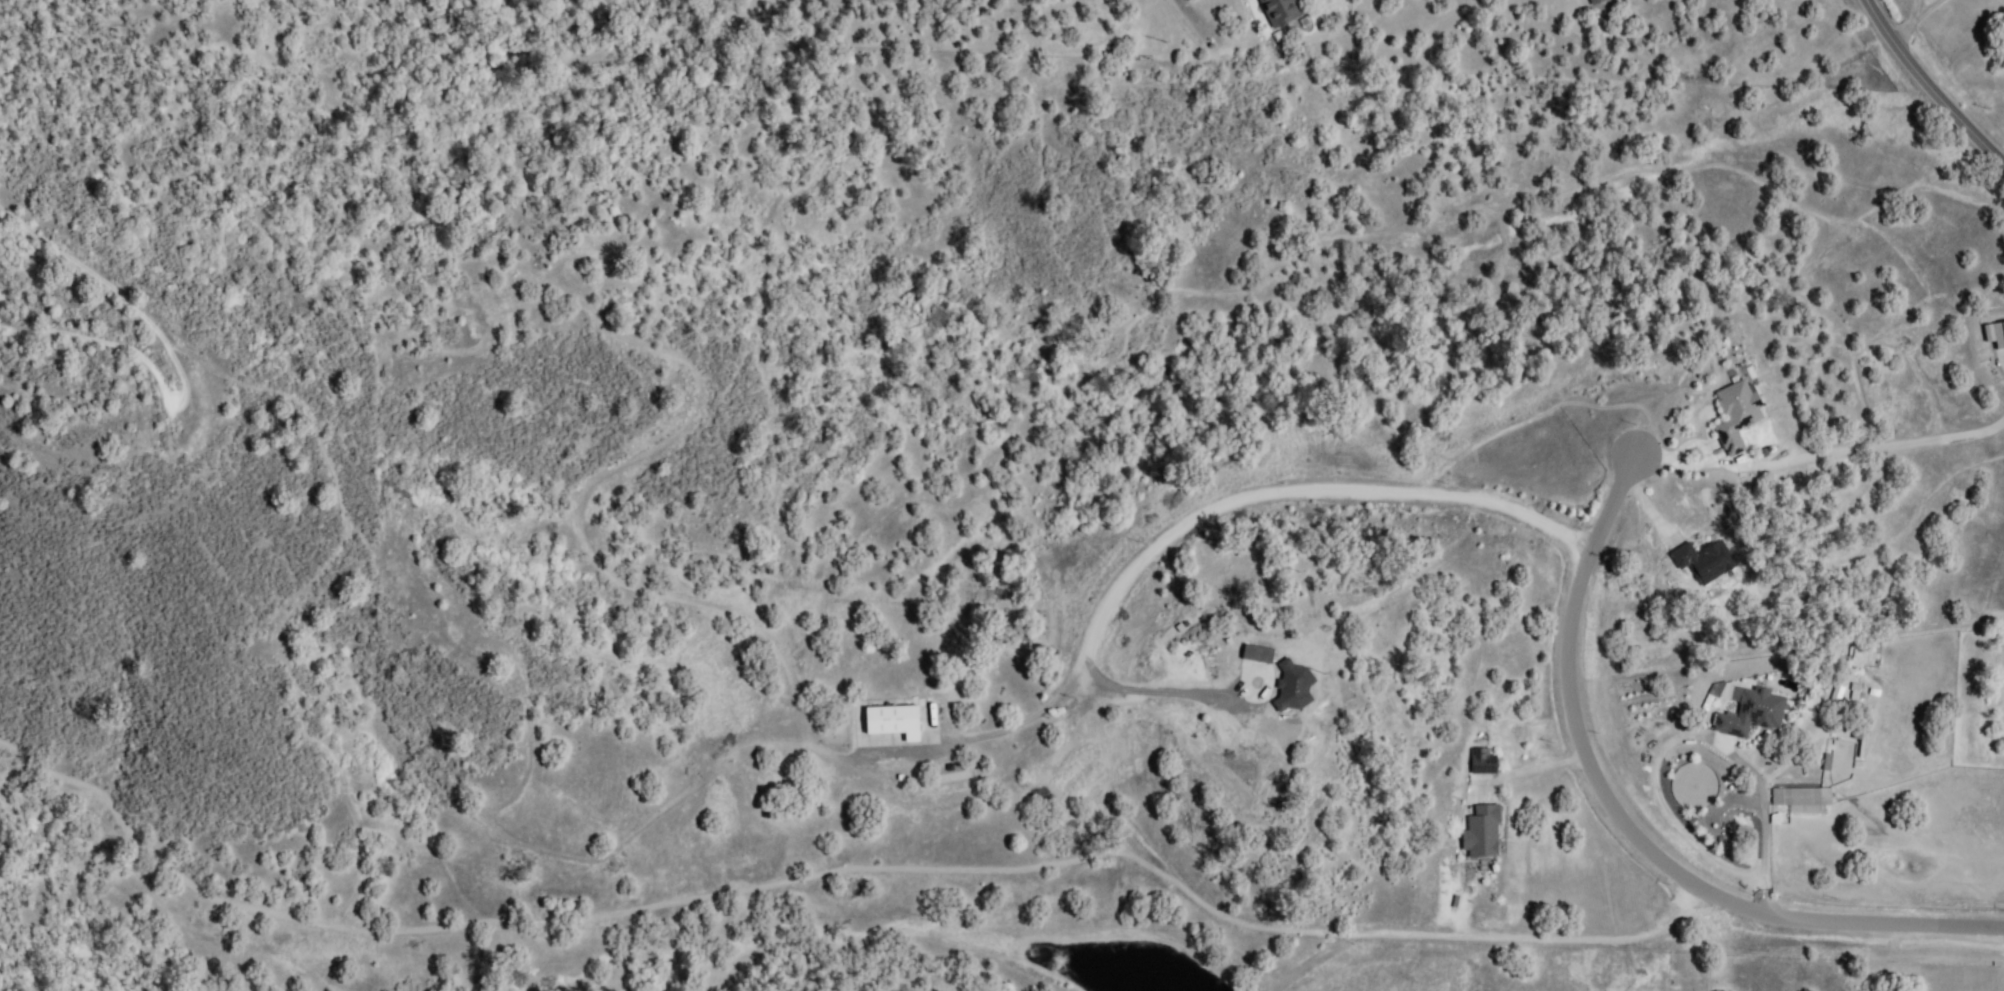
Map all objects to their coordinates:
building: (1598, 1)
road: (1913, 8)
building: (1282, 11)
road: (1911, 18)
road: (1928, 87)
building: (2000, 336)
building: (1738, 415)
road: (1818, 456)
road: (1226, 505)
building: (1706, 562)
building: (1854, 691)
building: (1836, 694)
building: (1753, 714)
building: (894, 722)
road: (1257, 725)
road: (1527, 771)
building: (1804, 799)
road: (1630, 826)
road: (1767, 828)
building: (1483, 832)

